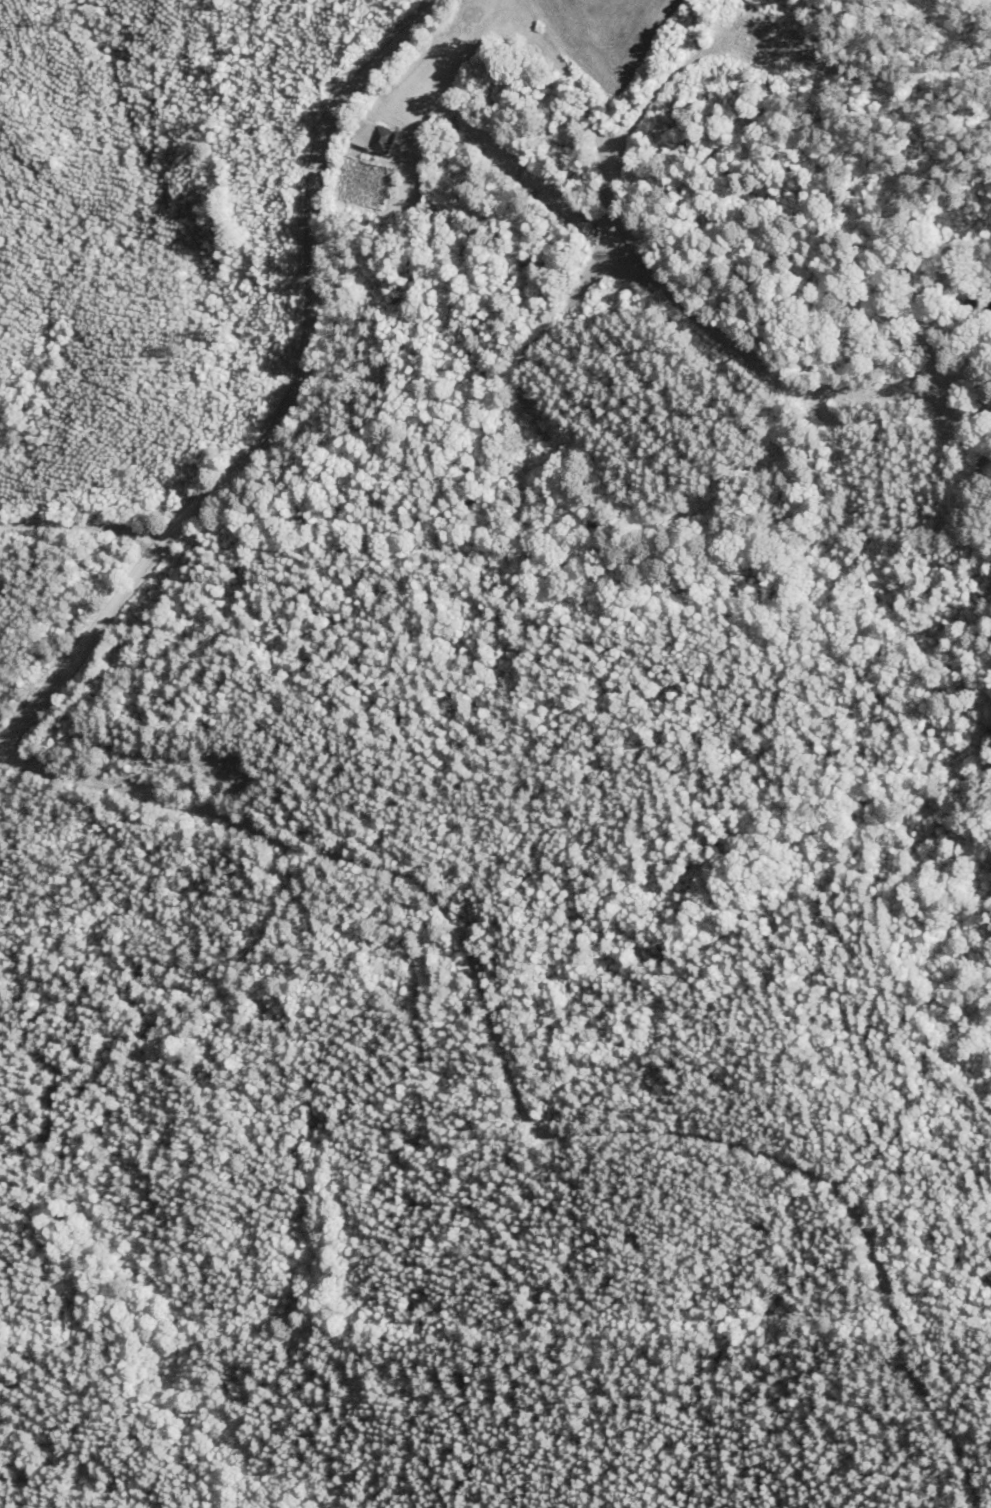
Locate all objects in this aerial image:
building: (374, 135)
road: (664, 289)
road: (294, 405)

